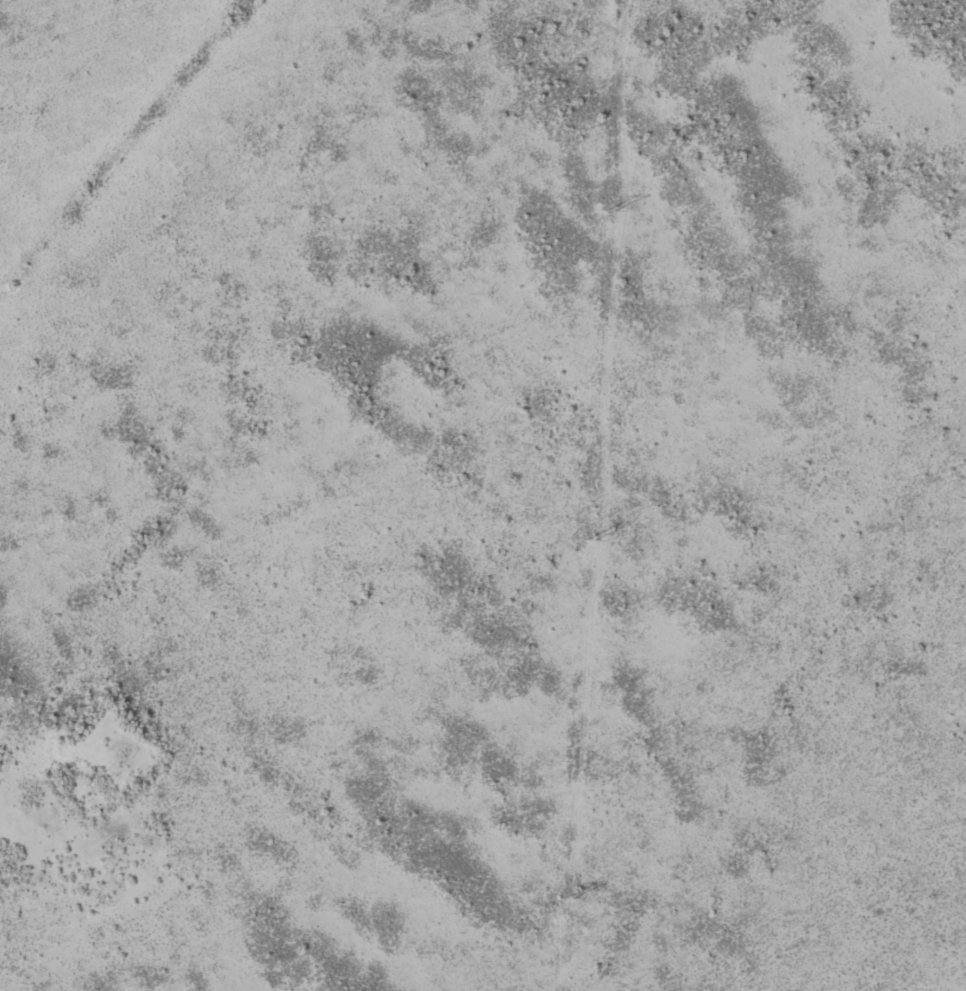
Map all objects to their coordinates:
power tower: (609, 212)
power tower: (589, 540)
power tower: (569, 898)

